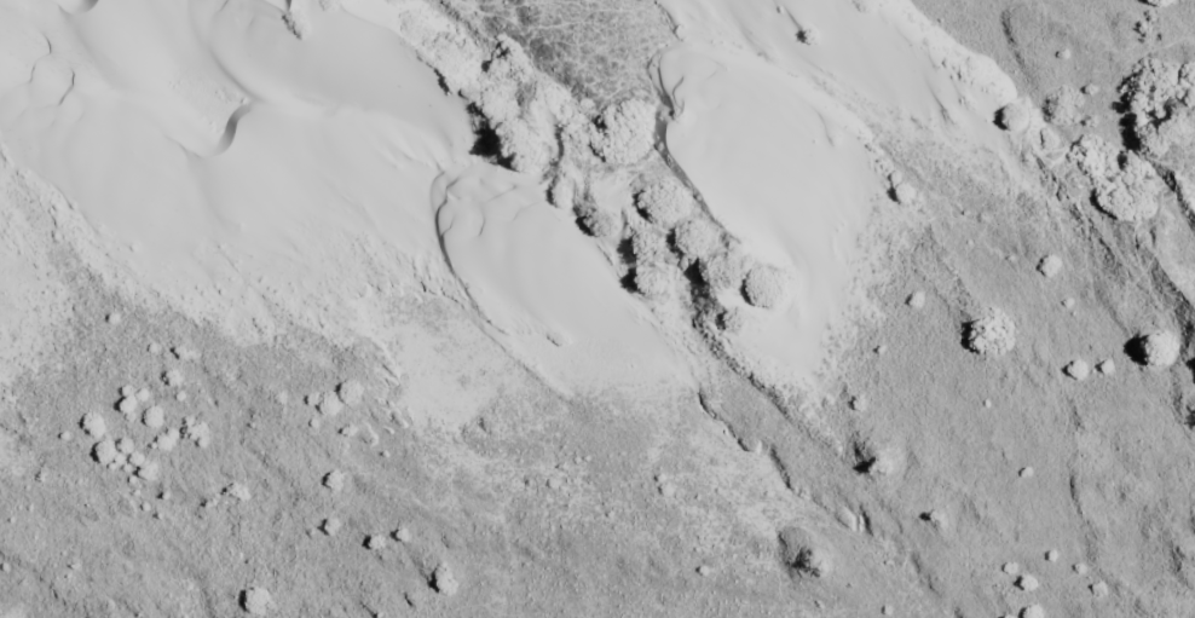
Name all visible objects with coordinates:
road: (963, 22)

